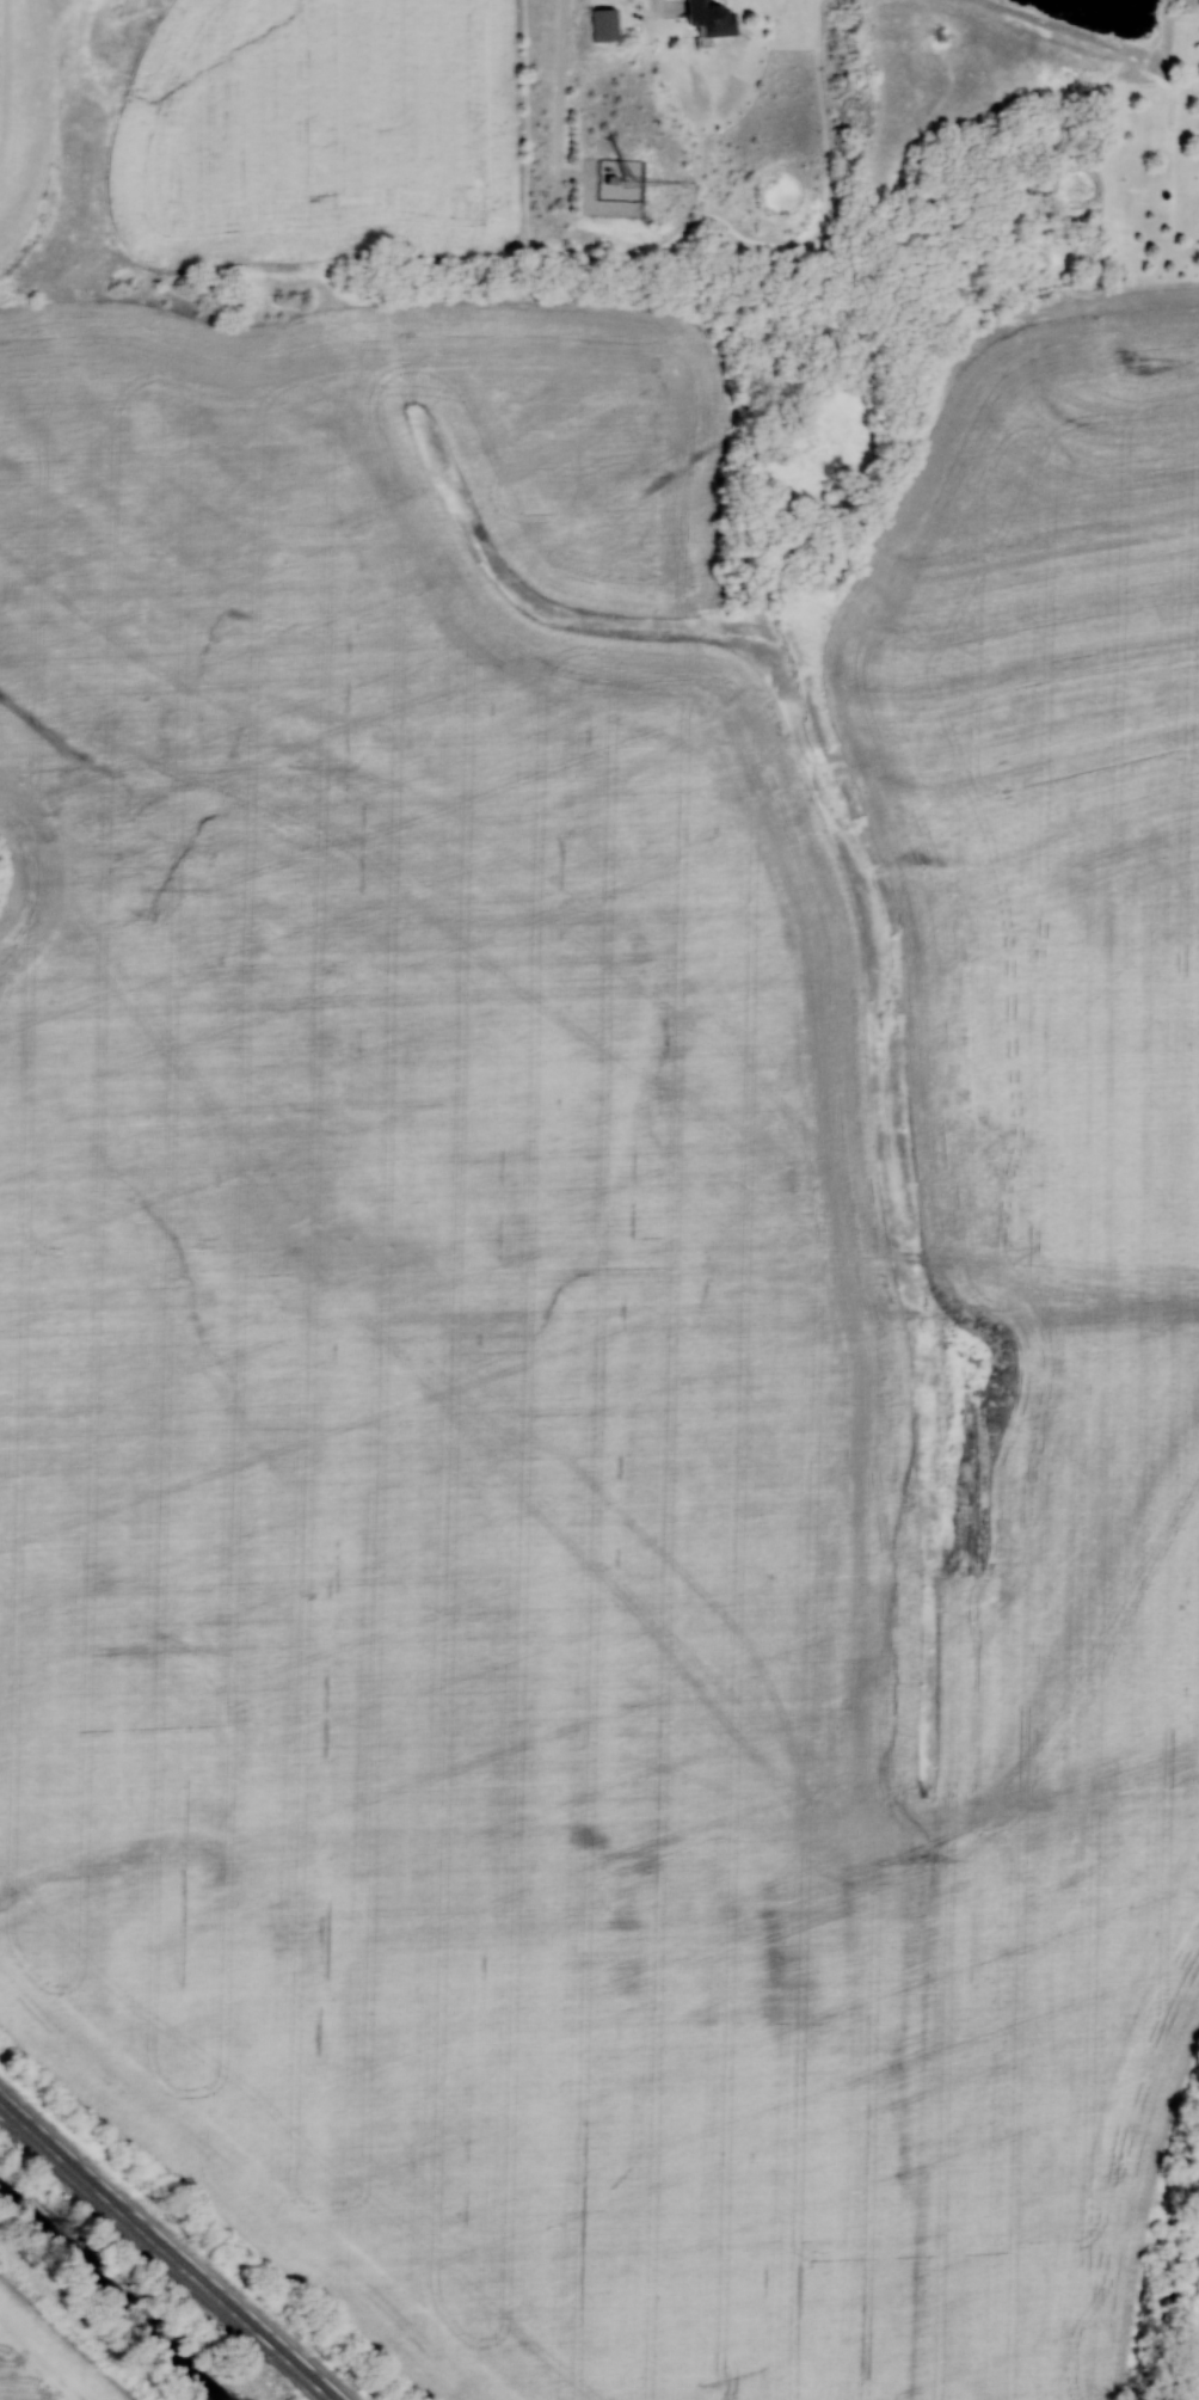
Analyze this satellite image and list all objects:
building: (714, 19)
building: (607, 25)
railway: (173, 2246)
railway: (162, 2251)

